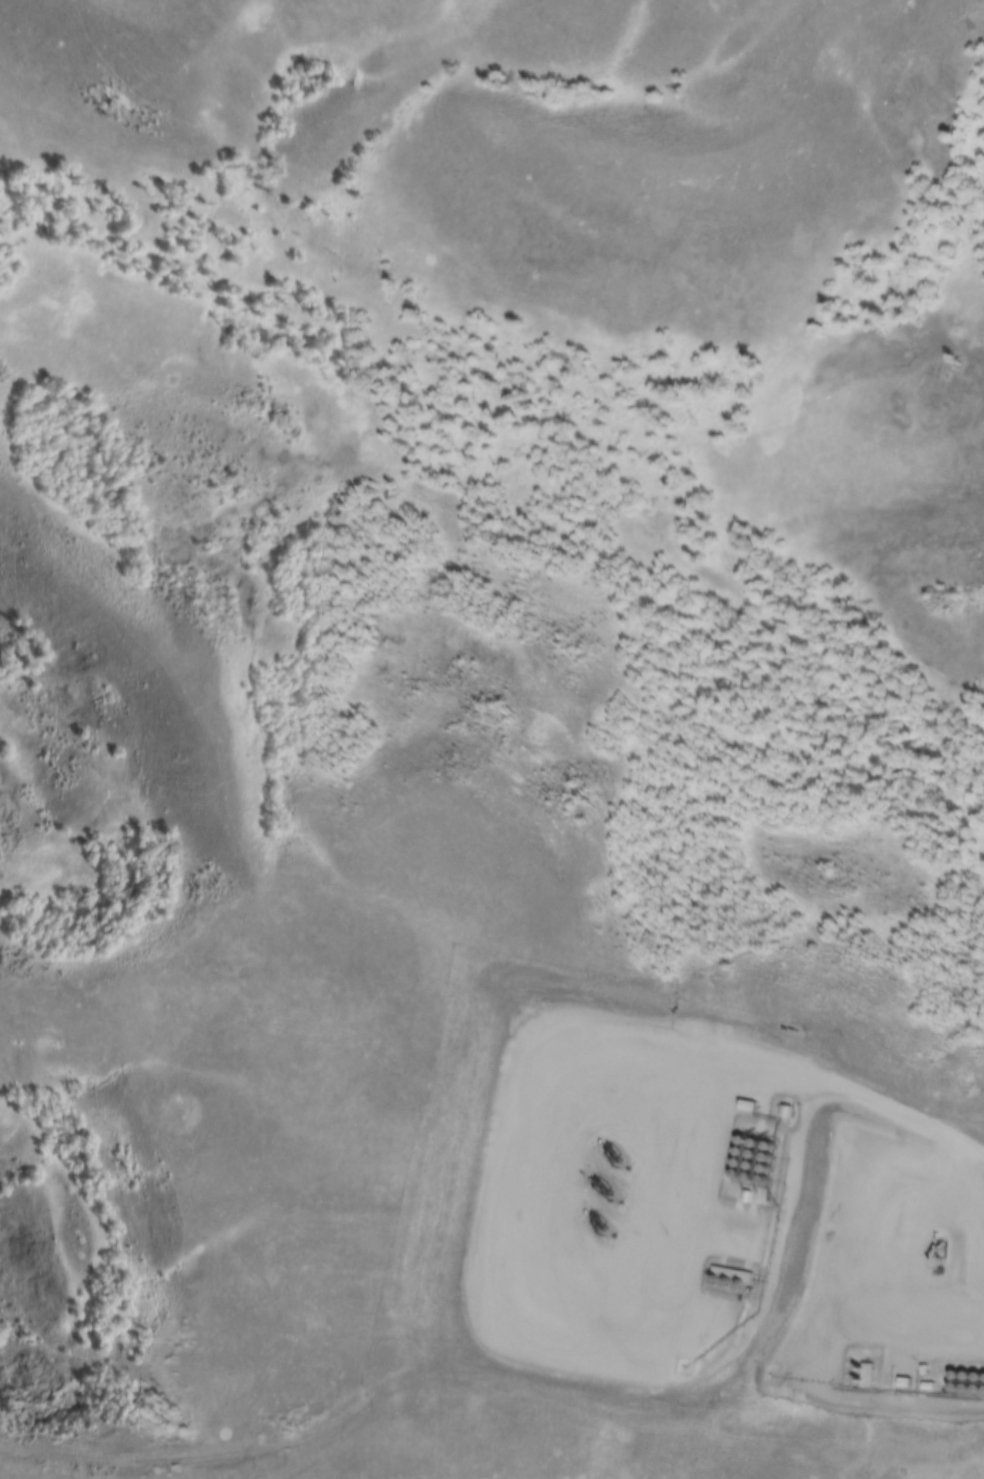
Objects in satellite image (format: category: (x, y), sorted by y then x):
road: (784, 1049)

